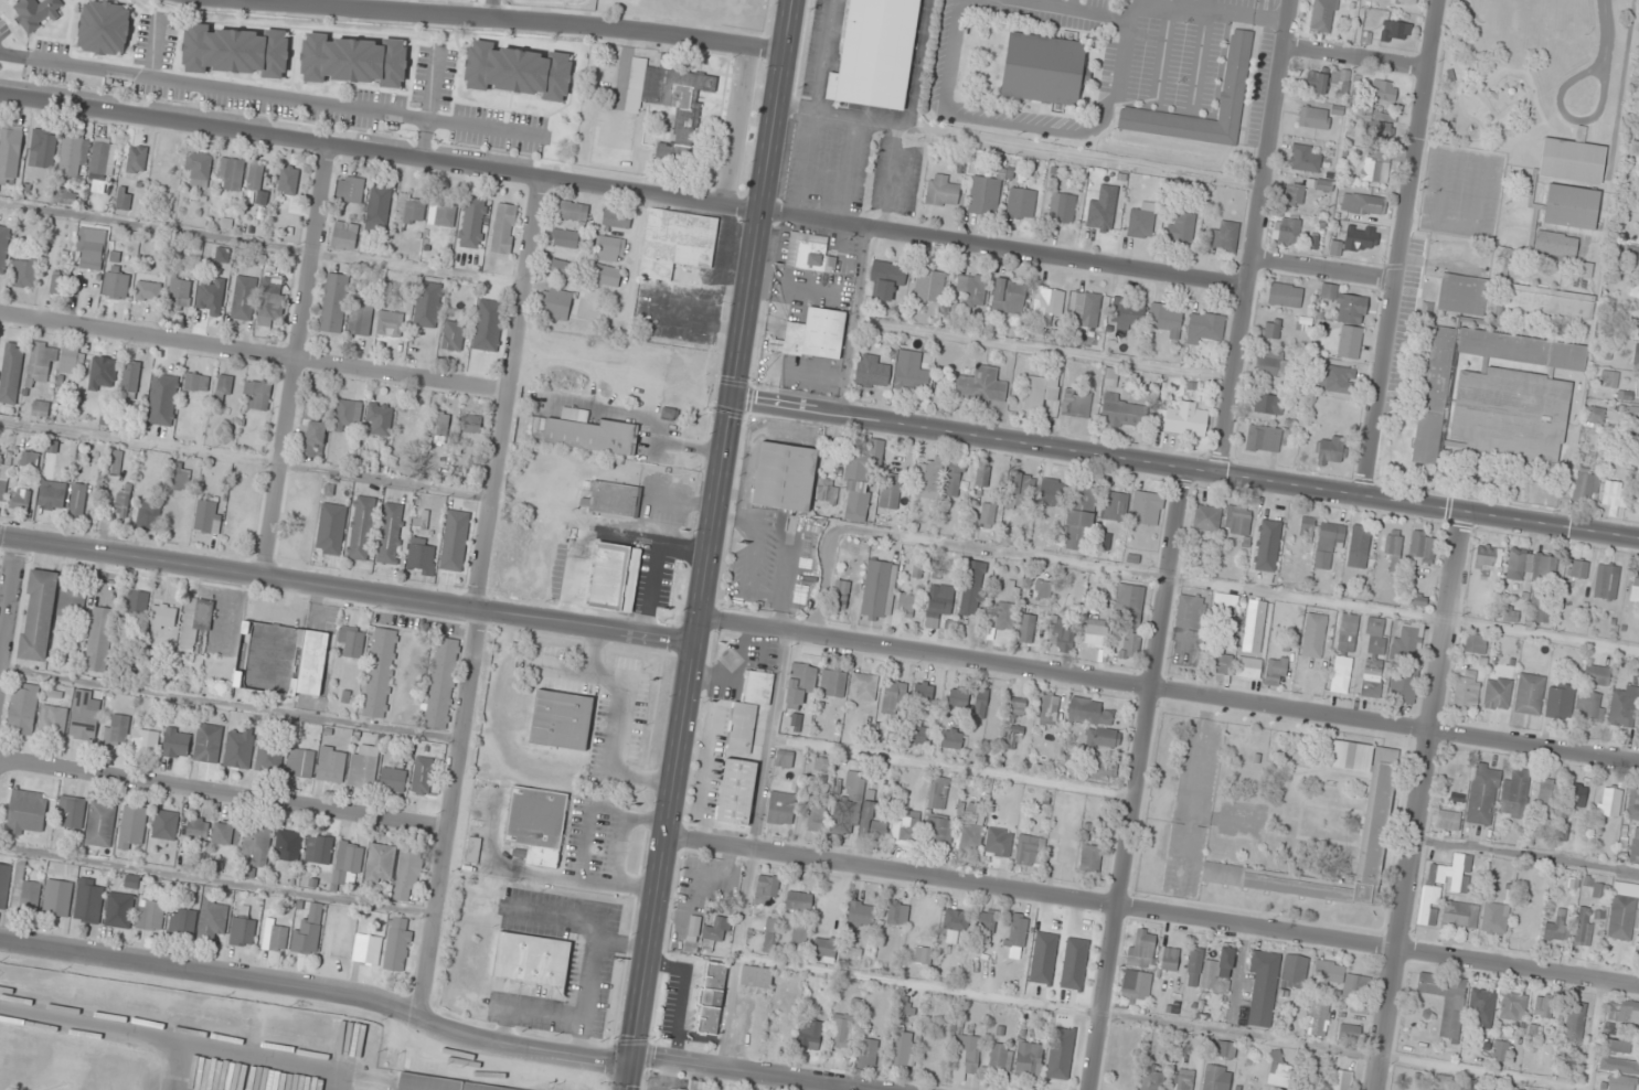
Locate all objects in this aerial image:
building: (1403, 1)
building: (35, 11)
building: (1323, 15)
road: (514, 19)
building: (104, 28)
building: (1395, 31)
road: (1605, 31)
building: (235, 50)
building: (876, 53)
road: (1356, 57)
building: (354, 60)
parking lot: (1107, 67)
building: (1045, 68)
building: (1236, 68)
building: (518, 71)
park: (1534, 73)
building: (1323, 78)
building: (1383, 90)
building: (670, 104)
road: (1568, 117)
building: (1313, 118)
building: (1376, 128)
building: (44, 147)
building: (10, 153)
building: (74, 156)
building: (104, 156)
building: (137, 159)
building: (1303, 159)
building: (1572, 159)
building: (199, 168)
building: (1374, 170)
building: (231, 172)
building: (255, 175)
building: (288, 180)
building: (350, 190)
road: (625, 190)
building: (941, 191)
building: (1294, 194)
building: (985, 195)
building: (65, 196)
building: (124, 197)
building: (1021, 203)
building: (1366, 204)
building: (380, 206)
building: (1572, 206)
building: (1062, 207)
building: (411, 209)
building: (1103, 209)
building: (573, 211)
building: (441, 213)
building: (617, 218)
building: (1141, 220)
building: (1181, 226)
building: (503, 228)
building: (1289, 231)
building: (345, 233)
building: (1225, 236)
building: (1520, 236)
road: (1255, 237)
building: (565, 238)
building: (1361, 238)
building: (677, 242)
building: (1555, 244)
building: (4, 247)
building: (93, 248)
building: (610, 248)
road: (1401, 248)
building: (1452, 249)
building: (809, 253)
building: (1632, 256)
building: (560, 267)
road: (1324, 269)
building: (23, 274)
building: (608, 275)
building: (887, 278)
building: (58, 281)
building: (929, 286)
building: (972, 288)
building: (148, 290)
building: (1635, 290)
building: (1462, 293)
building: (179, 295)
building: (1285, 295)
building: (1009, 296)
building: (244, 298)
building: (1548, 301)
building: (333, 302)
building: (212, 303)
building: (269, 303)
building: (428, 303)
building: (555, 303)
building: (1345, 304)
building: (1047, 306)
building: (1087, 309)
building: (1125, 313)
building: (361, 317)
building: (1167, 319)
building: (390, 324)
building: (1638, 324)
building: (1204, 325)
building: (1271, 329)
building: (813, 334)
building: (453, 335)
building: (1350, 342)
road: (254, 353)
building: (1636, 355)
road: (295, 360)
building: (68, 361)
building: (41, 363)
building: (1274, 363)
building: (872, 371)
building: (911, 371)
building: (11, 372)
building: (103, 374)
building: (1110, 377)
building: (1609, 377)
building: (1338, 378)
building: (130, 380)
building: (195, 382)
building: (981, 385)
building: (223, 388)
building: (1040, 389)
building: (257, 393)
traffic signals: (736, 398)
building: (1076, 404)
building: (1266, 404)
building: (40, 408)
building: (1124, 413)
building: (1511, 414)
building: (1596, 414)
building: (349, 415)
building: (1432, 416)
building: (381, 418)
building: (1186, 419)
building: (441, 425)
building: (472, 428)
building: (582, 431)
building: (312, 432)
building: (1263, 438)
building: (404, 439)
building: (1331, 450)
building: (1637, 453)
building: (30, 458)
building: (115, 462)
road: (1186, 469)
building: (179, 477)
building: (784, 477)
building: (983, 477)
building: (928, 478)
building: (954, 478)
building: (1, 479)
building: (861, 479)
building: (1022, 484)
building: (1585, 484)
building: (891, 490)
building: (1052, 492)
building: (52, 495)
building: (1611, 496)
building: (20, 499)
building: (613, 499)
building: (77, 500)
building: (123, 500)
building: (1115, 505)
building: (1147, 507)
building: (988, 514)
building: (148, 516)
building: (207, 516)
building: (1206, 517)
building: (1079, 520)
building: (1237, 520)
building: (361, 527)
building: (1307, 527)
building: (331, 528)
building: (298, 531)
building: (391, 533)
building: (455, 541)
building: (1393, 543)
road: (710, 545)
building: (1267, 545)
building: (1328, 545)
building: (1359, 546)
building: (1422, 548)
building: (421, 556)
building: (1486, 557)
parking lot: (1, 558)
building: (1519, 565)
building: (1546, 565)
building: (1577, 569)
building: (614, 577)
building: (1606, 581)
building: (1635, 585)
building: (971, 588)
road: (348, 589)
building: (1043, 589)
building: (877, 590)
road: (481, 598)
building: (841, 600)
building: (136, 601)
building: (1129, 602)
building: (938, 603)
building: (71, 606)
building: (905, 606)
building: (1224, 607)
road: (10, 610)
building: (1189, 611)
building: (1541, 613)
building: (39, 615)
building: (163, 617)
building: (1001, 617)
building: (195, 621)
building: (1254, 624)
building: (1025, 628)
building: (1095, 632)
building: (1374, 634)
building: (1313, 635)
building: (1063, 637)
building: (99, 639)
building: (1407, 640)
building: (351, 641)
building: (1476, 644)
building: (1130, 645)
building: (1344, 651)
park: (279, 660)
building: (310, 663)
building: (1218, 663)
building: (1249, 667)
building: (1276, 670)
building: (379, 672)
building: (1597, 674)
building: (1371, 677)
building: (439, 683)
building: (833, 683)
building: (1403, 683)
building: (799, 684)
building: (863, 686)
building: (1467, 688)
road: (1168, 691)
building: (923, 692)
building: (1498, 693)
building: (1530, 693)
building: (894, 696)
building: (958, 698)
building: (1560, 701)
building: (980, 703)
building: (1588, 704)
building: (751, 705)
building: (22, 708)
building: (1621, 708)
building: (1015, 709)
building: (1049, 709)
building: (1088, 712)
building: (85, 714)
building: (561, 719)
building: (53, 720)
building: (115, 730)
building: (918, 733)
building: (1012, 736)
building: (952, 738)
building: (1101, 738)
building: (145, 741)
building: (177, 742)
building: (207, 744)
building: (237, 750)
building: (269, 757)
building: (784, 758)
building: (300, 762)
building: (331, 765)
building: (363, 766)
building: (1099, 768)
building: (422, 776)
building: (392, 779)
road: (1138, 779)
building: (736, 791)
building: (1514, 791)
road: (224, 792)
building: (939, 792)
building: (1548, 793)
building: (1482, 794)
building: (1577, 795)
road: (1419, 800)
building: (1609, 801)
building: (848, 804)
building: (1632, 805)
building: (26, 812)
building: (70, 812)
building: (780, 813)
building: (816, 815)
building: (1377, 817)
building: (1448, 820)
building: (871, 822)
building: (536, 823)
building: (164, 824)
building: (99, 826)
building: (132, 827)
building: (194, 827)
building: (905, 827)
building: (938, 832)
building: (225, 834)
building: (970, 836)
building: (998, 842)
building: (257, 844)
building: (288, 845)
building: (1635, 846)
building: (1030, 848)
building: (319, 849)
building: (473, 849)
building: (1090, 858)
building: (347, 862)
building: (380, 864)
building: (407, 876)
building: (4, 884)
building: (1443, 885)
building: (766, 891)
building: (25, 893)
building: (56, 897)
building: (88, 900)
building: (798, 900)
building: (822, 909)
building: (119, 910)
building: (1624, 911)
road: (1153, 912)
building: (897, 913)
building: (861, 915)
building: (150, 916)
building: (1459, 916)
building: (213, 918)
building: (1494, 918)
building: (182, 921)
building: (986, 923)
building: (1526, 923)
building: (955, 926)
building: (1557, 926)
building: (1584, 926)
building: (242, 930)
building: (308, 931)
building: (714, 931)
building: (1018, 931)
building: (770, 932)
building: (799, 932)
building: (278, 938)
building: (397, 944)
building: (366, 948)
building: (1142, 948)
building: (824, 949)
building: (923, 951)
building: (531, 959)
road: (738, 959)
building: (1169, 959)
building: (1194, 968)
building: (1218, 971)
building: (1294, 972)
building: (1328, 973)
building: (756, 976)
building: (1358, 983)
building: (1136, 985)
building: (1262, 989)
road: (319, 991)
building: (711, 998)
building: (1445, 1001)
building: (1481, 1006)
building: (1514, 1007)
building: (1544, 1009)
building: (1624, 1011)
building: (1318, 1016)
road: (1163, 1020)
building: (1575, 1020)
building: (842, 1030)
building: (1349, 1033)
building: (811, 1036)
road: (1595, 1036)
building: (1622, 1047)
building: (902, 1048)
building: (1225, 1049)
building: (1501, 1050)
building: (868, 1051)
building: (968, 1054)
building: (999, 1055)
building: (1029, 1059)
building: (1568, 1059)
traffic signals: (631, 1060)
building: (1618, 1065)
road: (752, 1070)
building: (1278, 1070)
building: (1216, 1077)
building: (1183, 1079)
building: (1152, 1080)
building: (1341, 1080)
building: (1444, 1082)
building: (1617, 1082)
building: (439, 1084)
building: (696, 1084)
building: (1465, 1084)
building: (1241, 1089)

